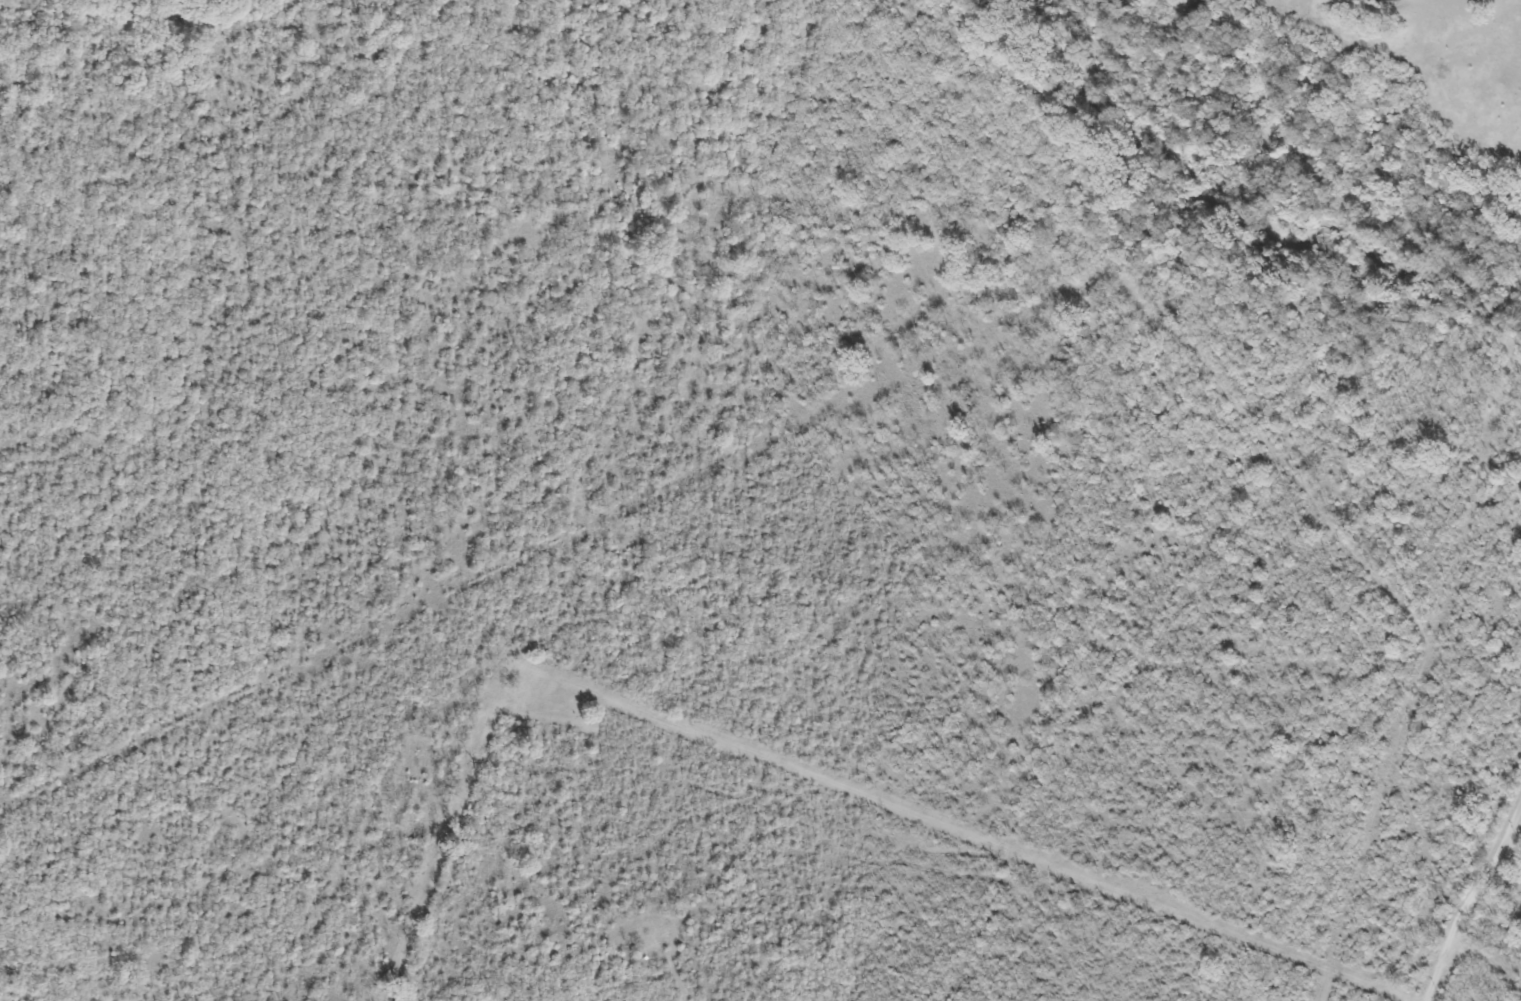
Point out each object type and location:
road: (1502, 832)
road: (1447, 933)

